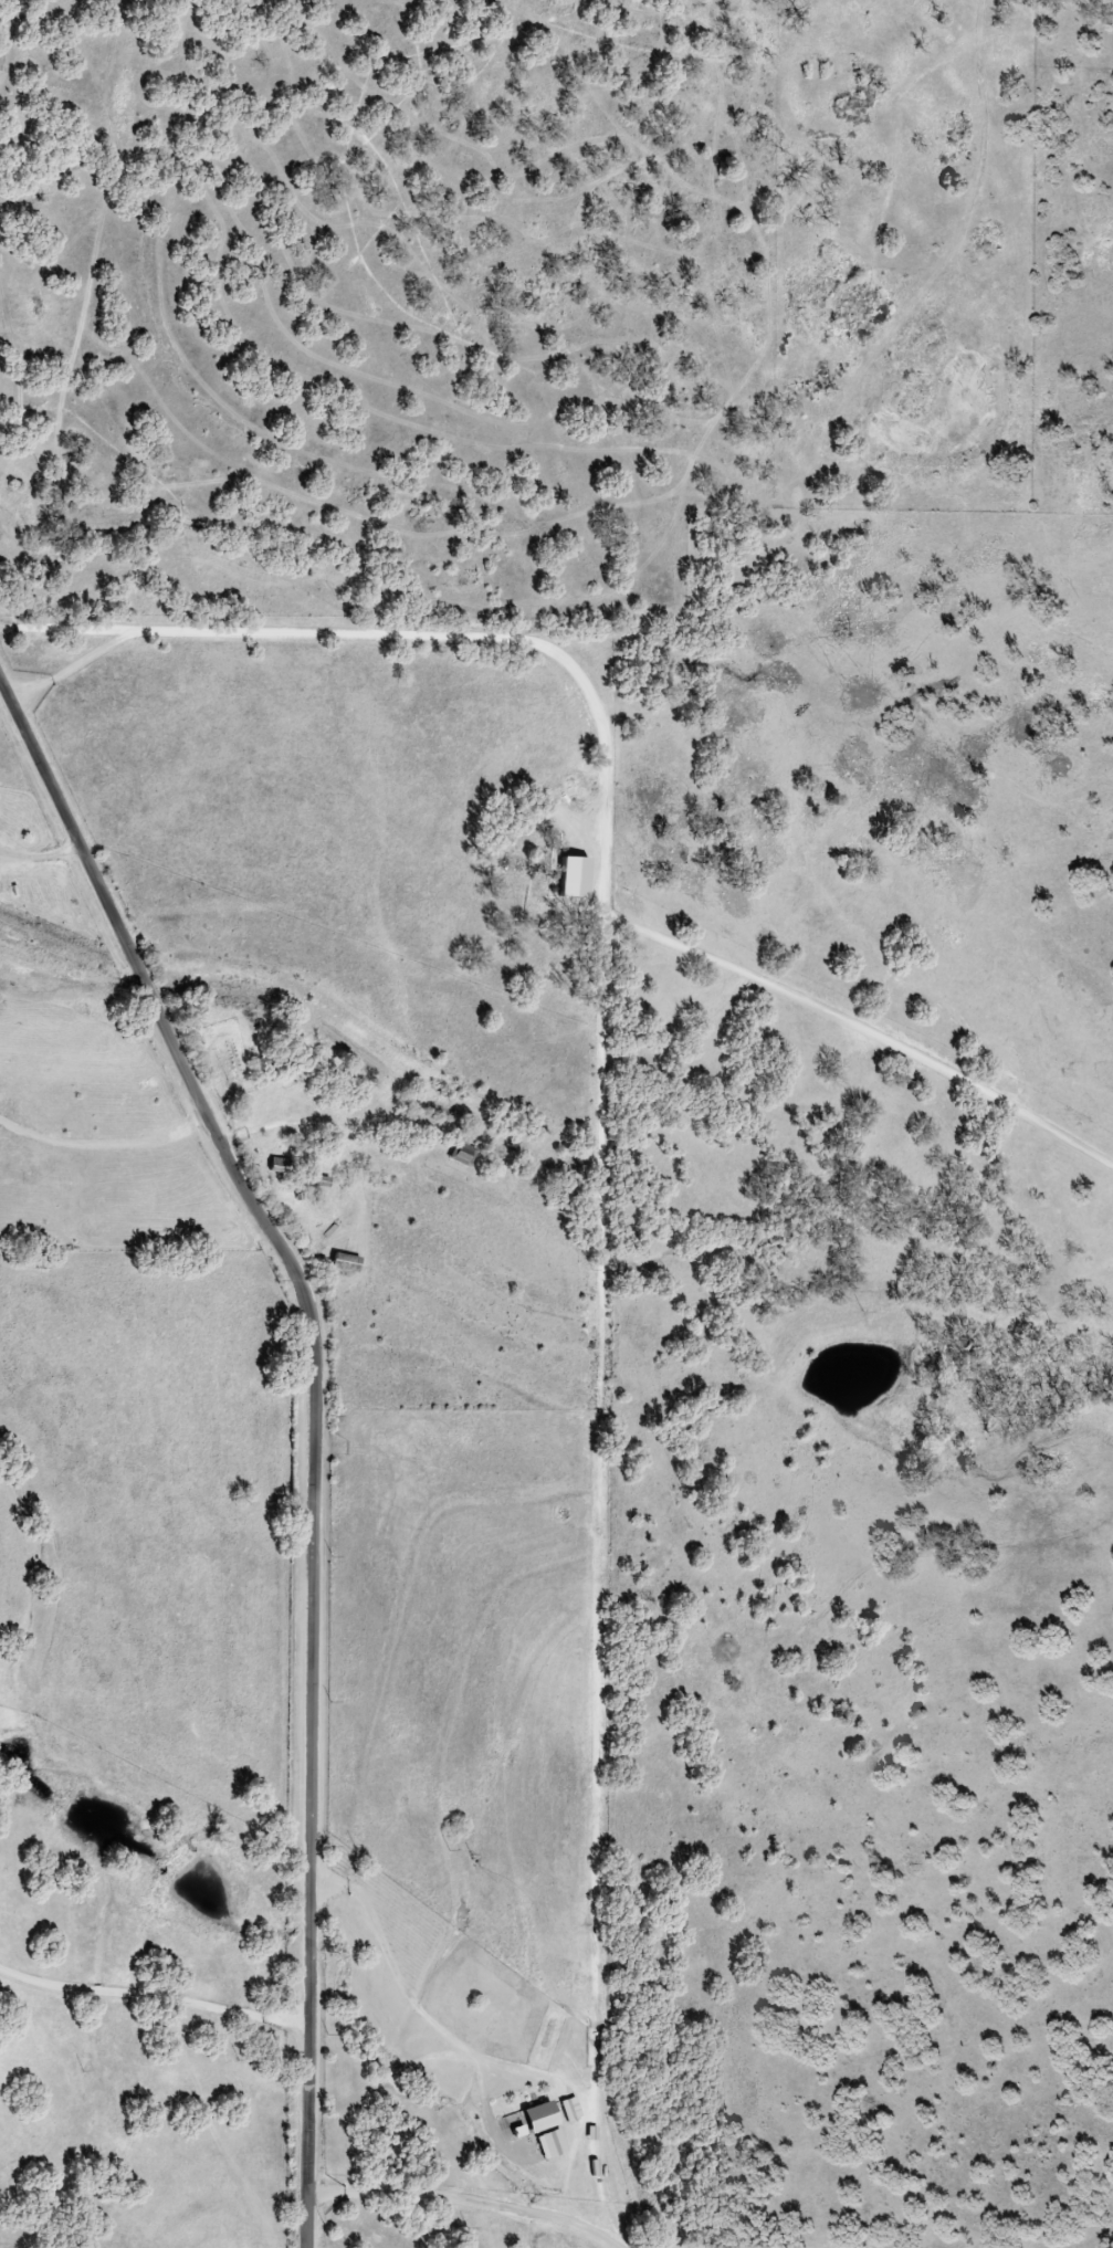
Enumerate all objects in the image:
road: (851, 1032)
road: (606, 1151)
building: (458, 1154)
road: (497, 1288)
road: (312, 1428)
road: (157, 1997)
building: (531, 2118)
road: (472, 2191)

